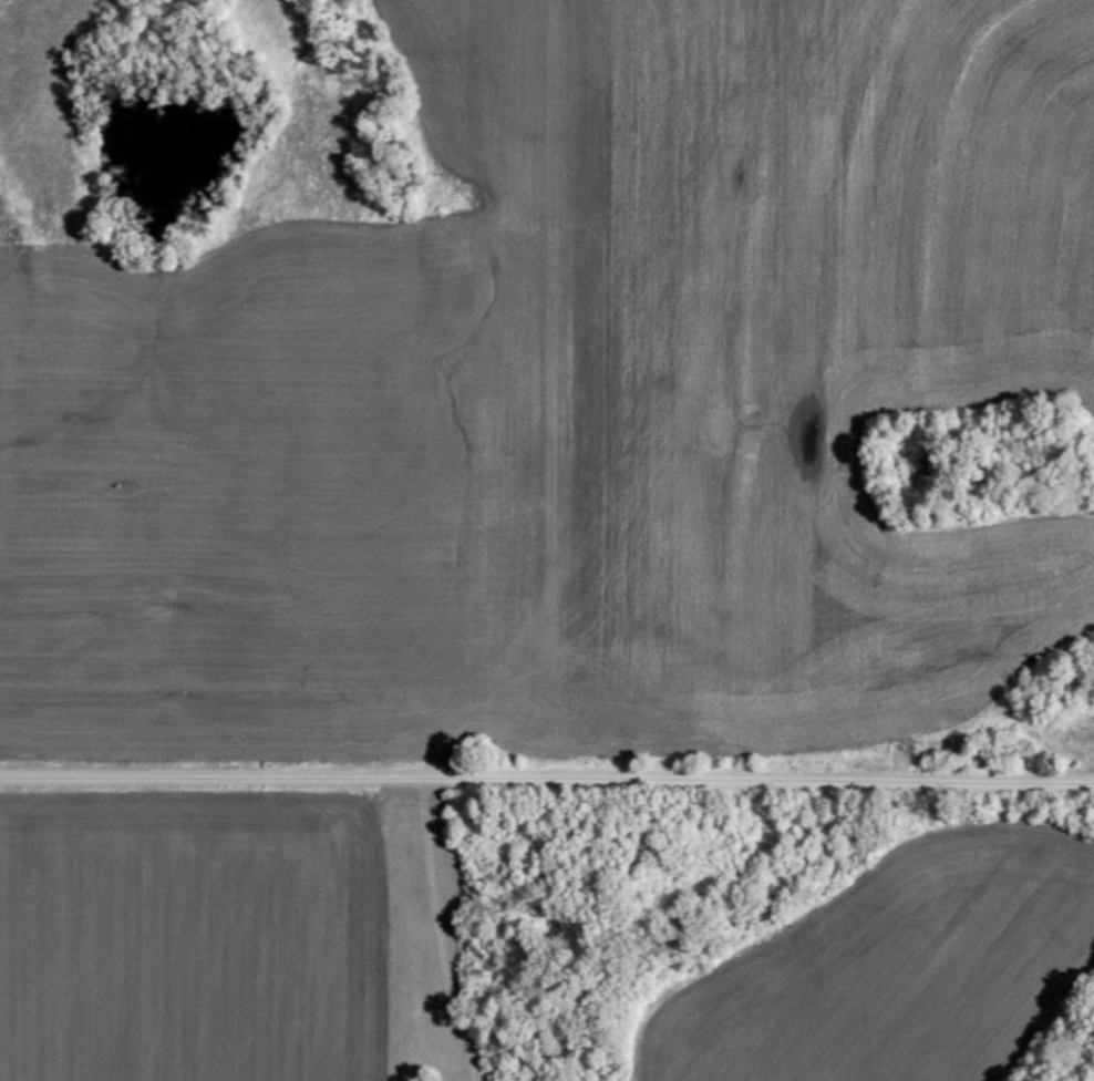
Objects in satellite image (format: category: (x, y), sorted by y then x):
road: (546, 778)

